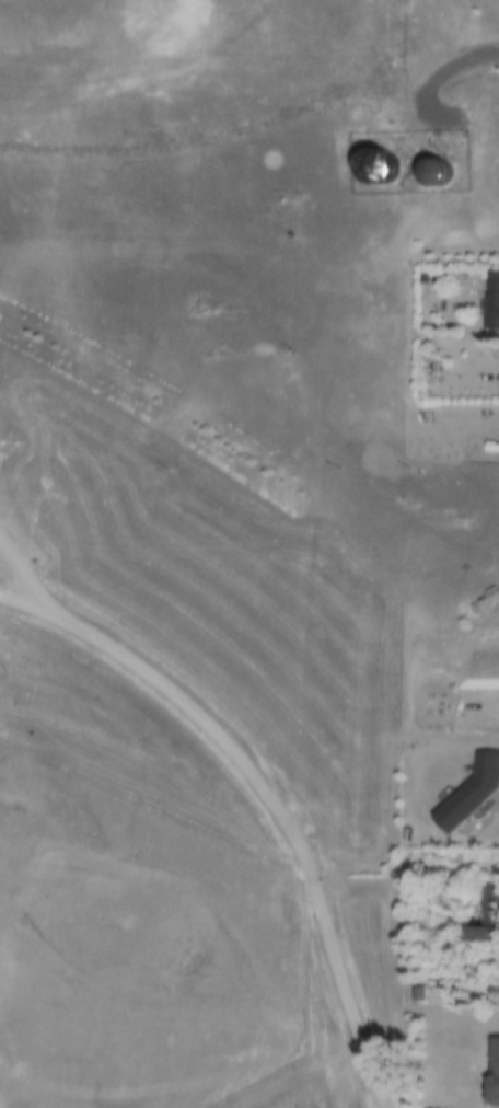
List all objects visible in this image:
road: (449, 59)
building: (431, 170)
storage tank: (372, 174)
storage tank: (429, 183)
building: (489, 304)
building: (468, 790)
road: (259, 801)
building: (483, 915)
building: (423, 994)
building: (492, 1072)
road: (332, 1093)

